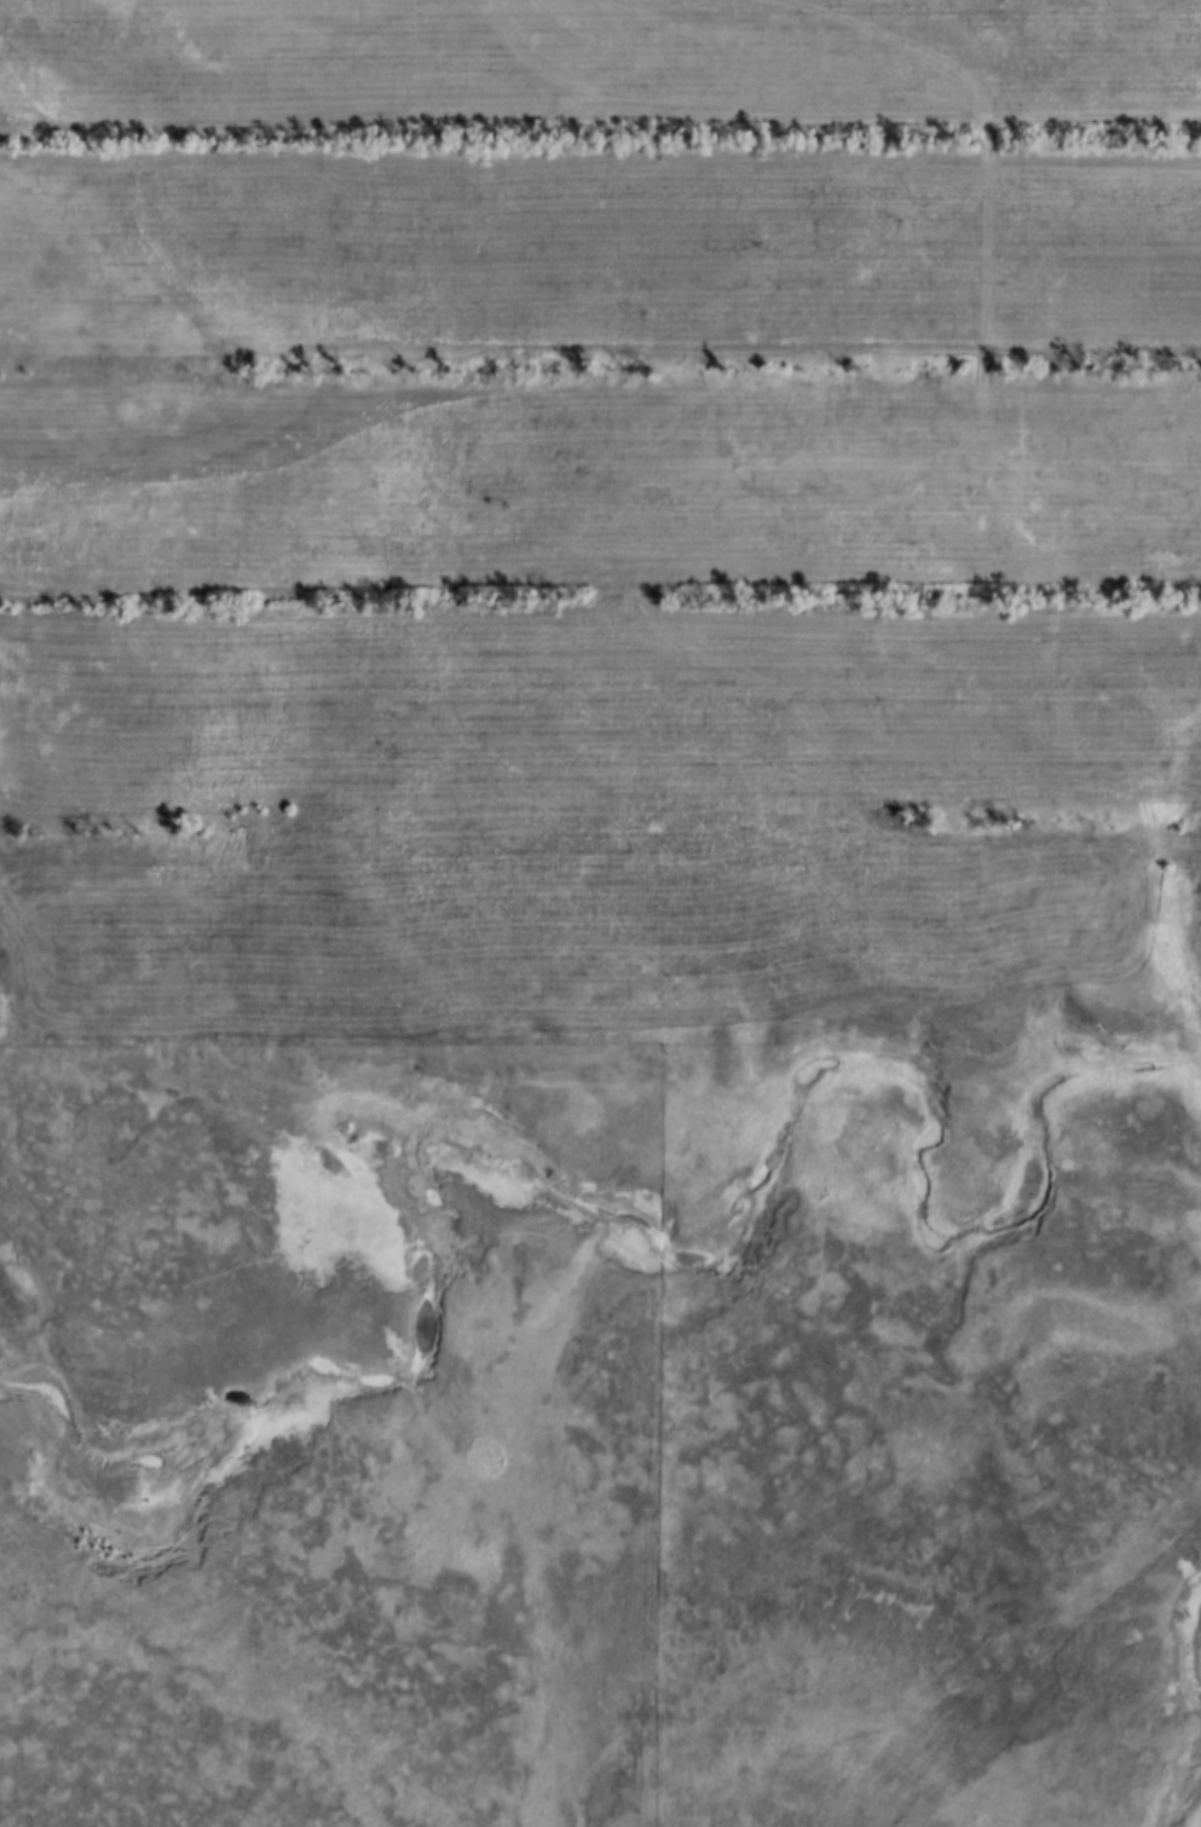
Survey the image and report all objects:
road: (1, 857)

